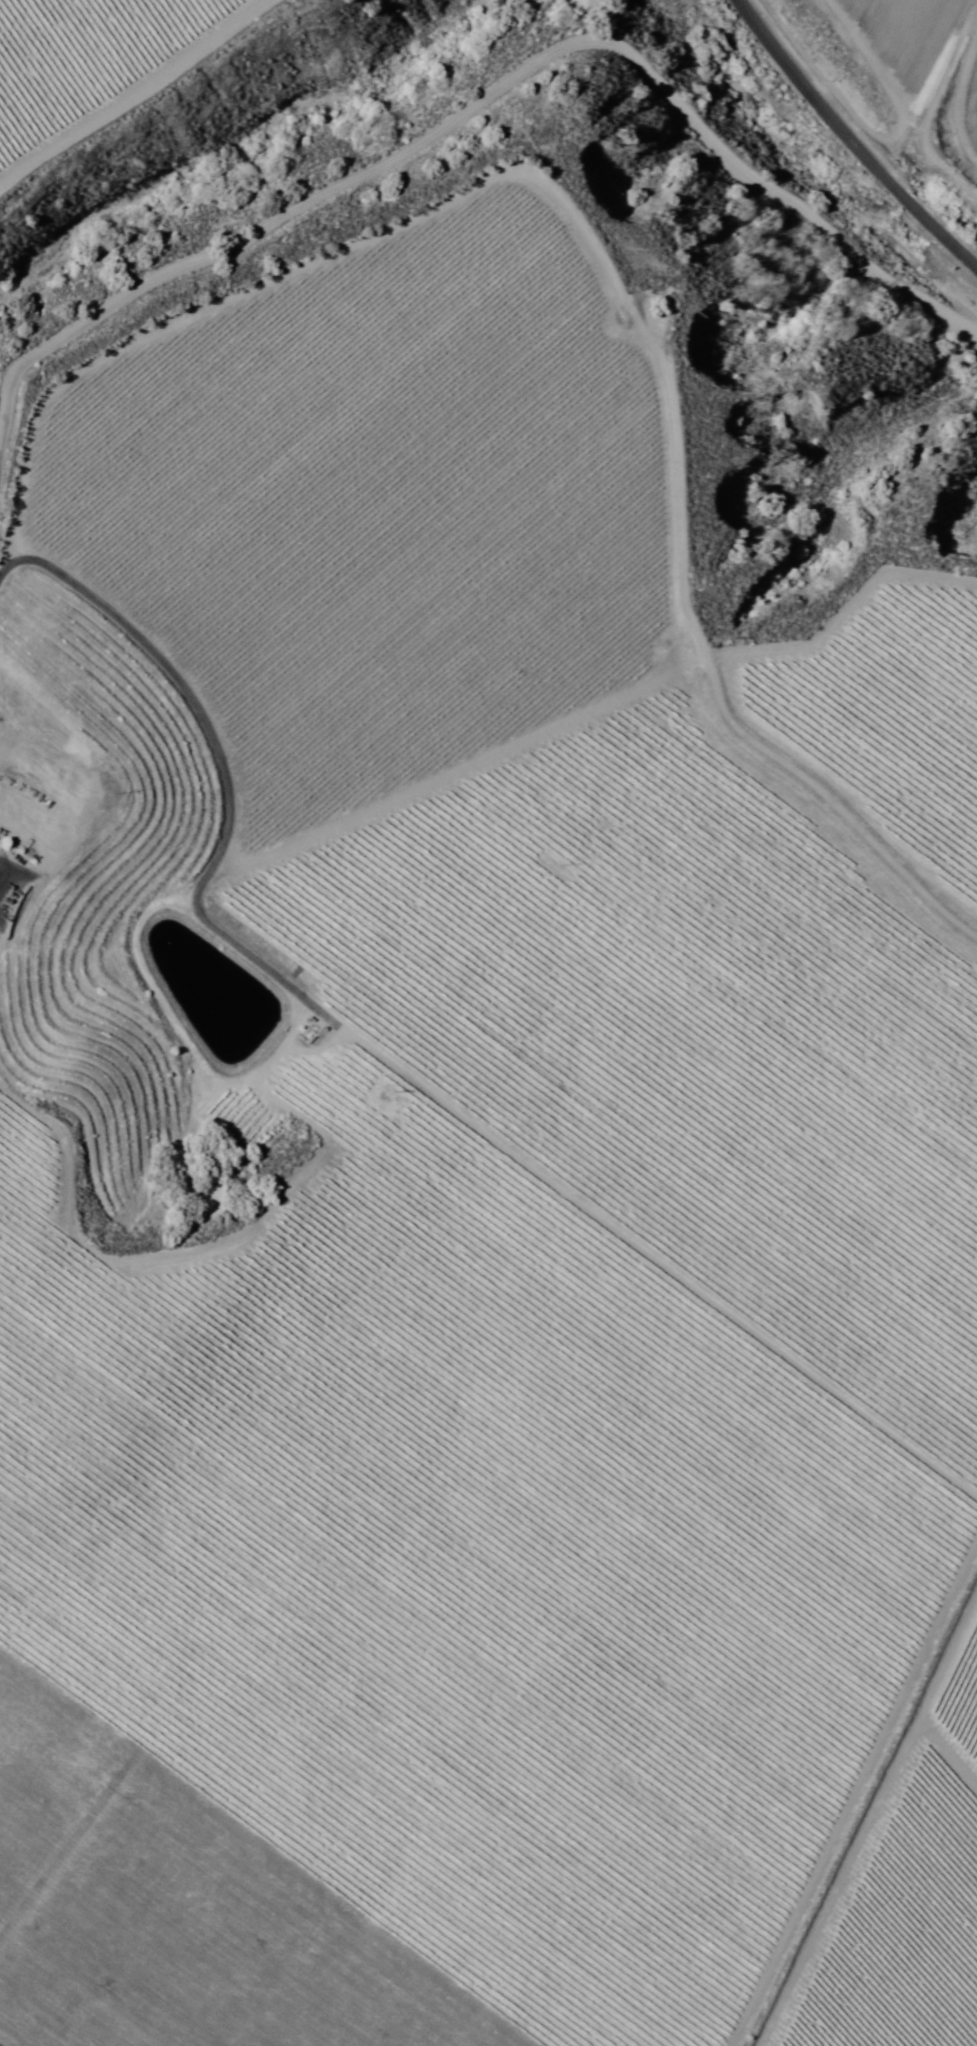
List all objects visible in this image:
crop: (86, 50)
road: (848, 140)
crop: (475, 1193)

